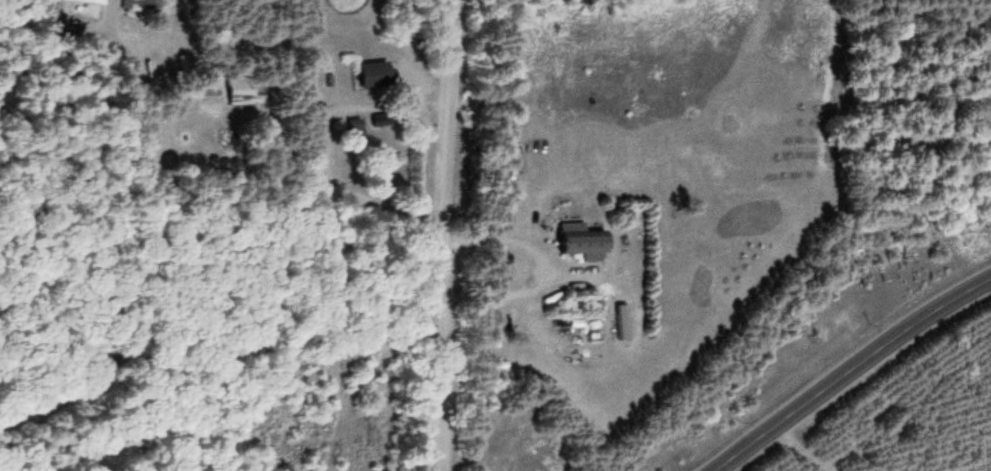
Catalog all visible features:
building: (99, 0)
building: (142, 4)
building: (985, 22)
building: (378, 70)
building: (243, 87)
building: (382, 116)
building: (355, 123)
road: (443, 235)
building: (584, 239)
road: (221, 364)
road: (850, 371)

